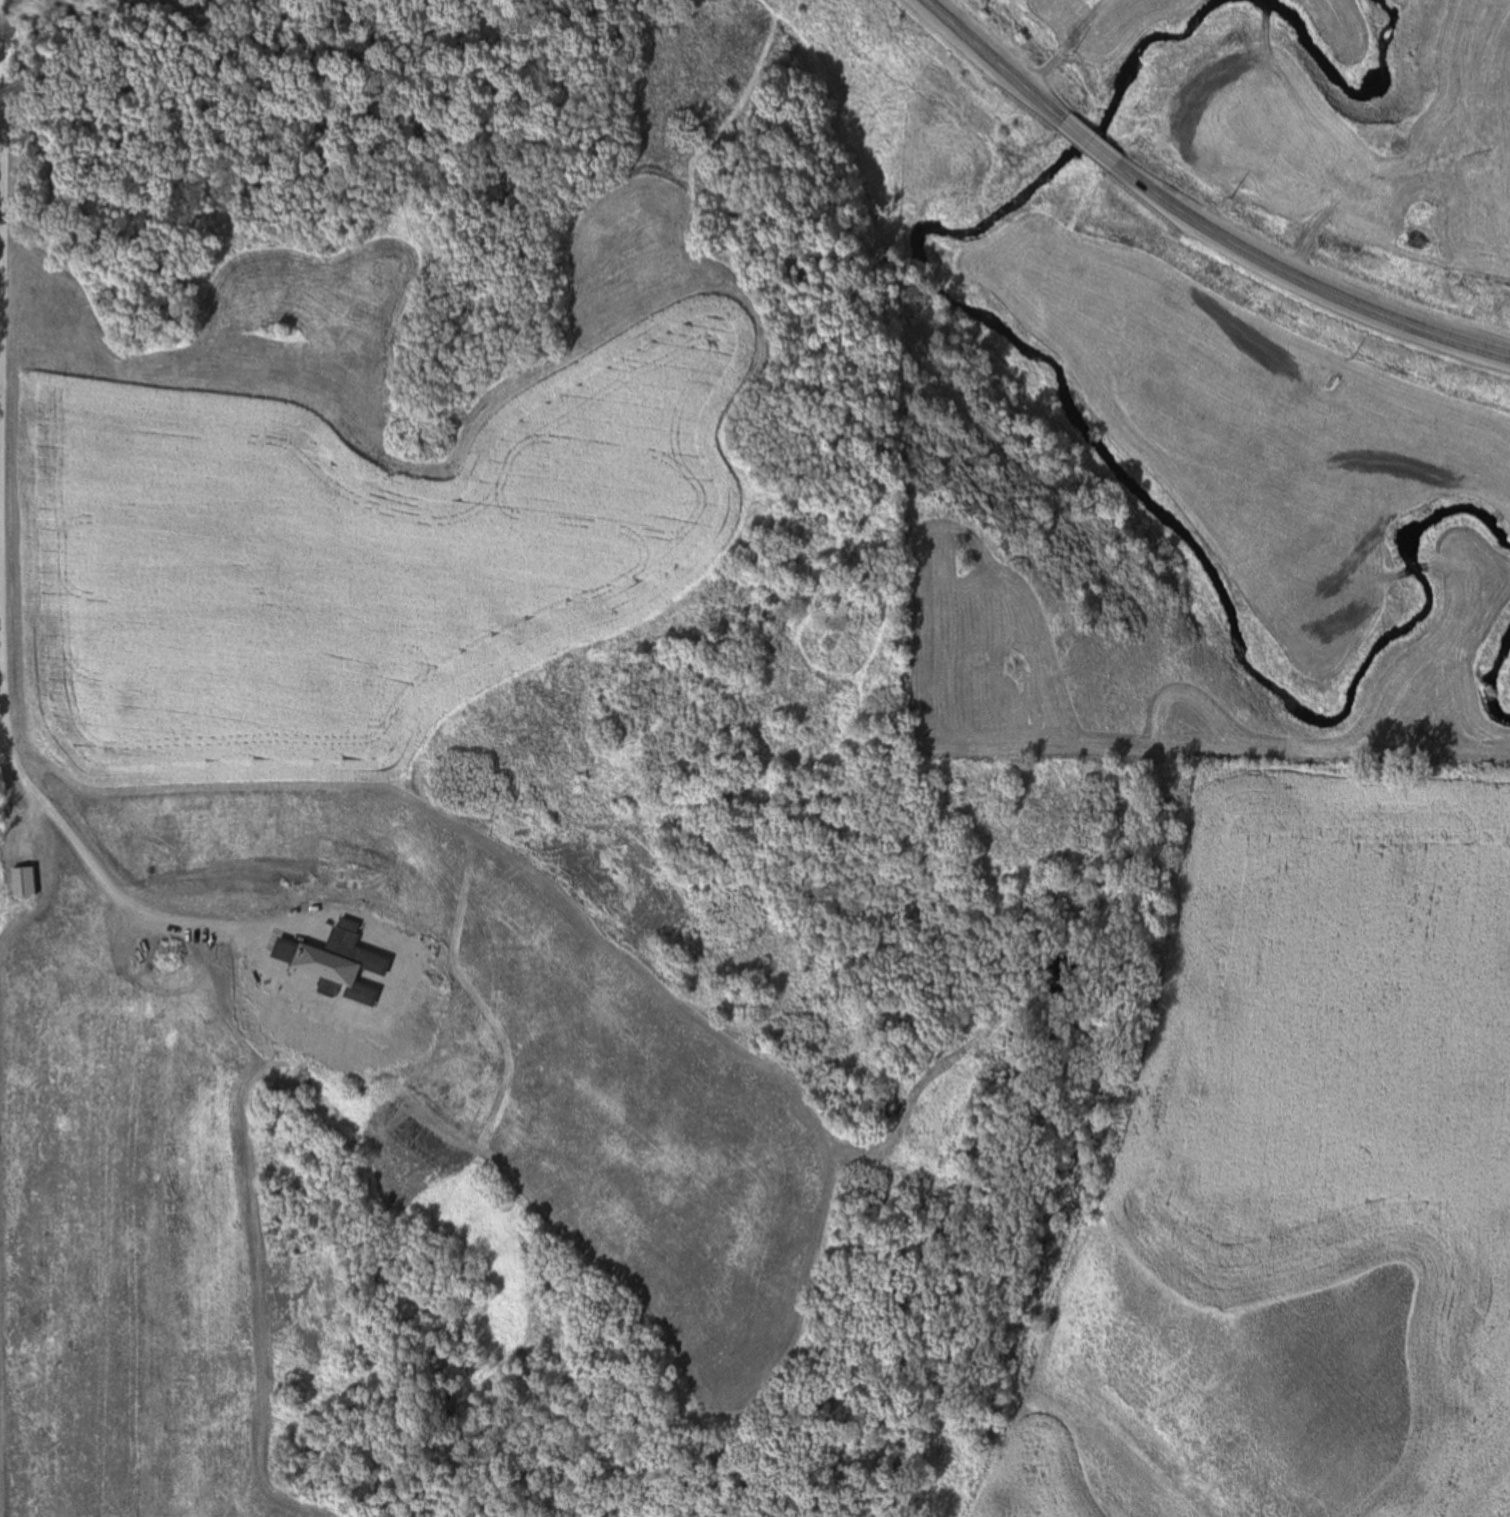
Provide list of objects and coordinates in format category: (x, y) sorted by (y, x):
road: (994, 61)
road: (1089, 145)
building: (1416, 241)
road: (1303, 281)
road: (2, 444)

